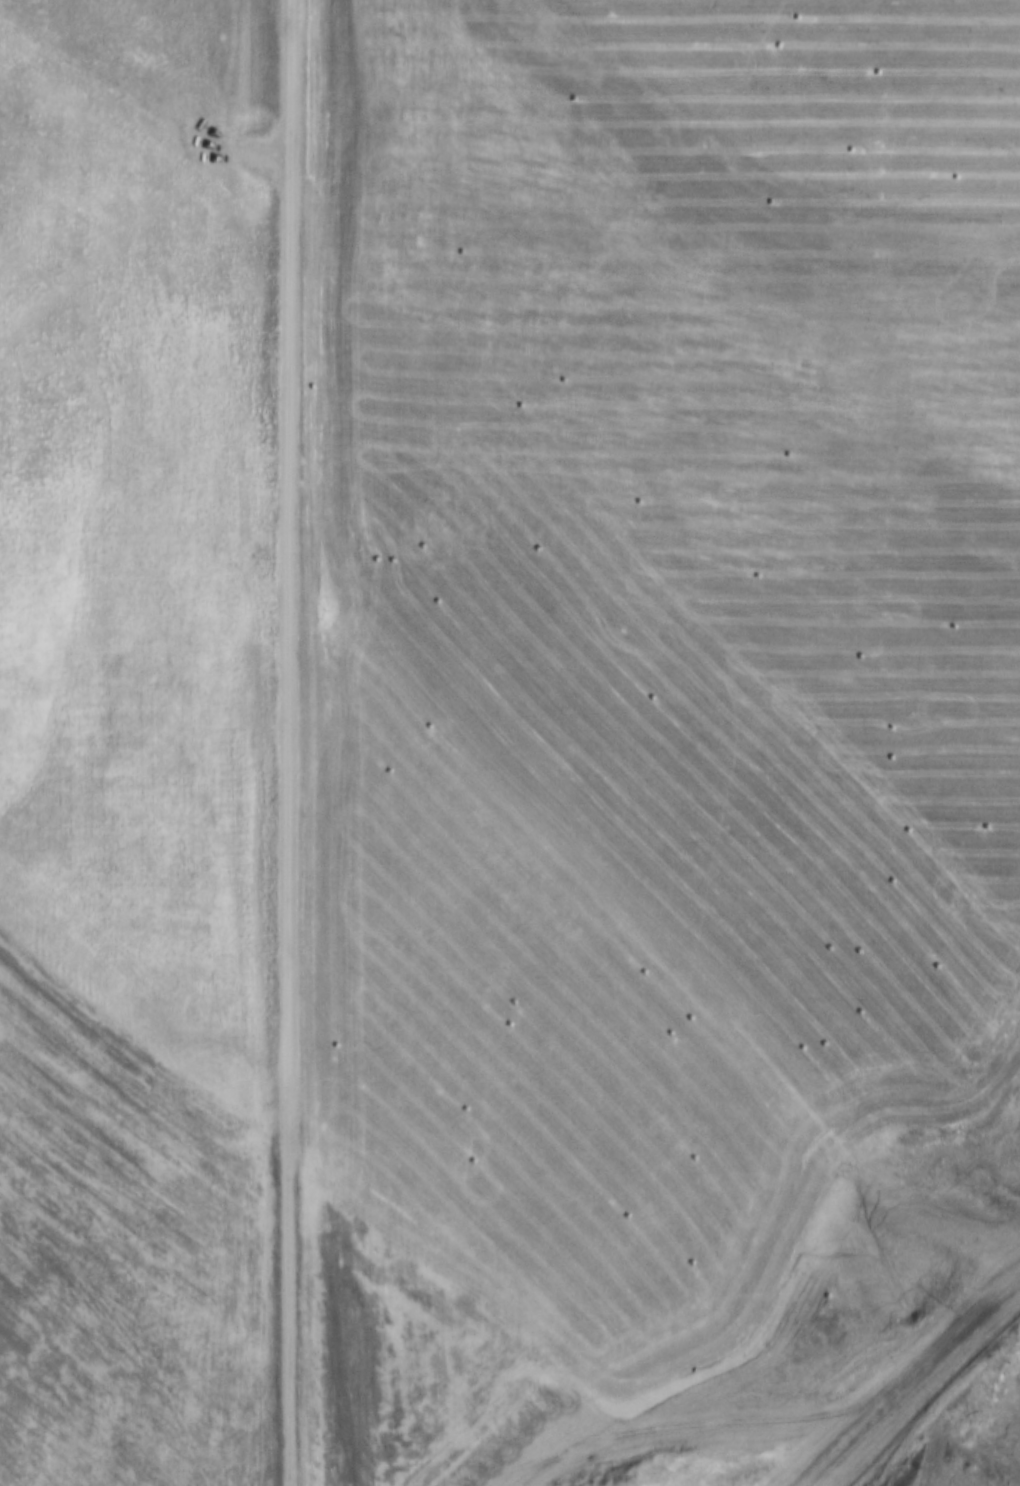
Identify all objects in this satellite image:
road: (297, 1151)

